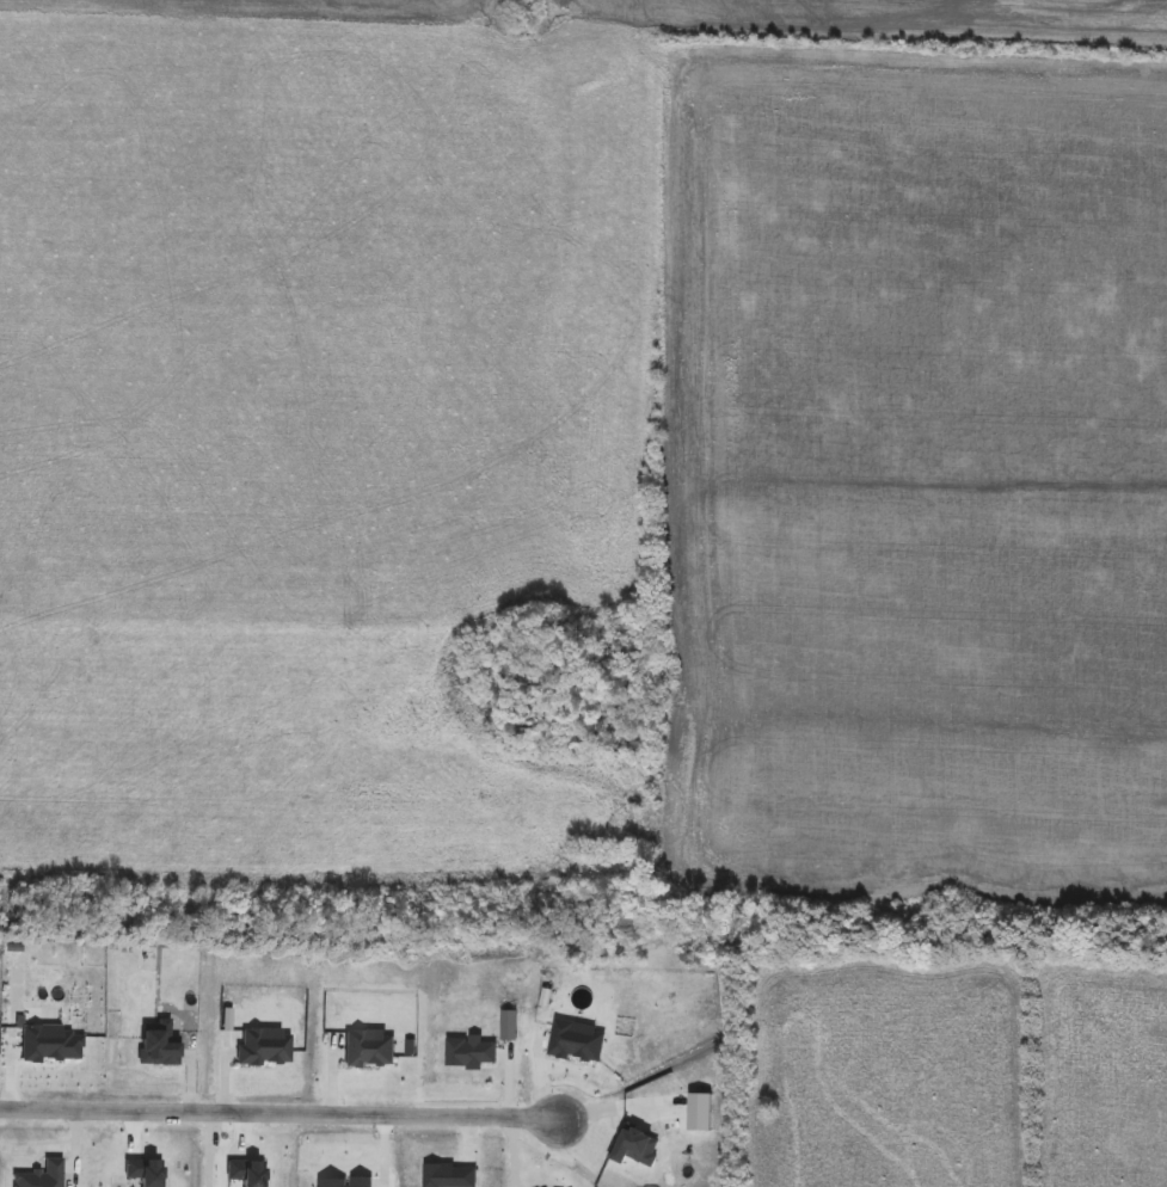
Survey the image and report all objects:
building: (572, 1040)
building: (50, 1045)
building: (368, 1050)
building: (161, 1051)
building: (471, 1052)
road: (278, 1113)
building: (142, 1170)
building: (244, 1173)
building: (448, 1176)
building: (339, 1183)

